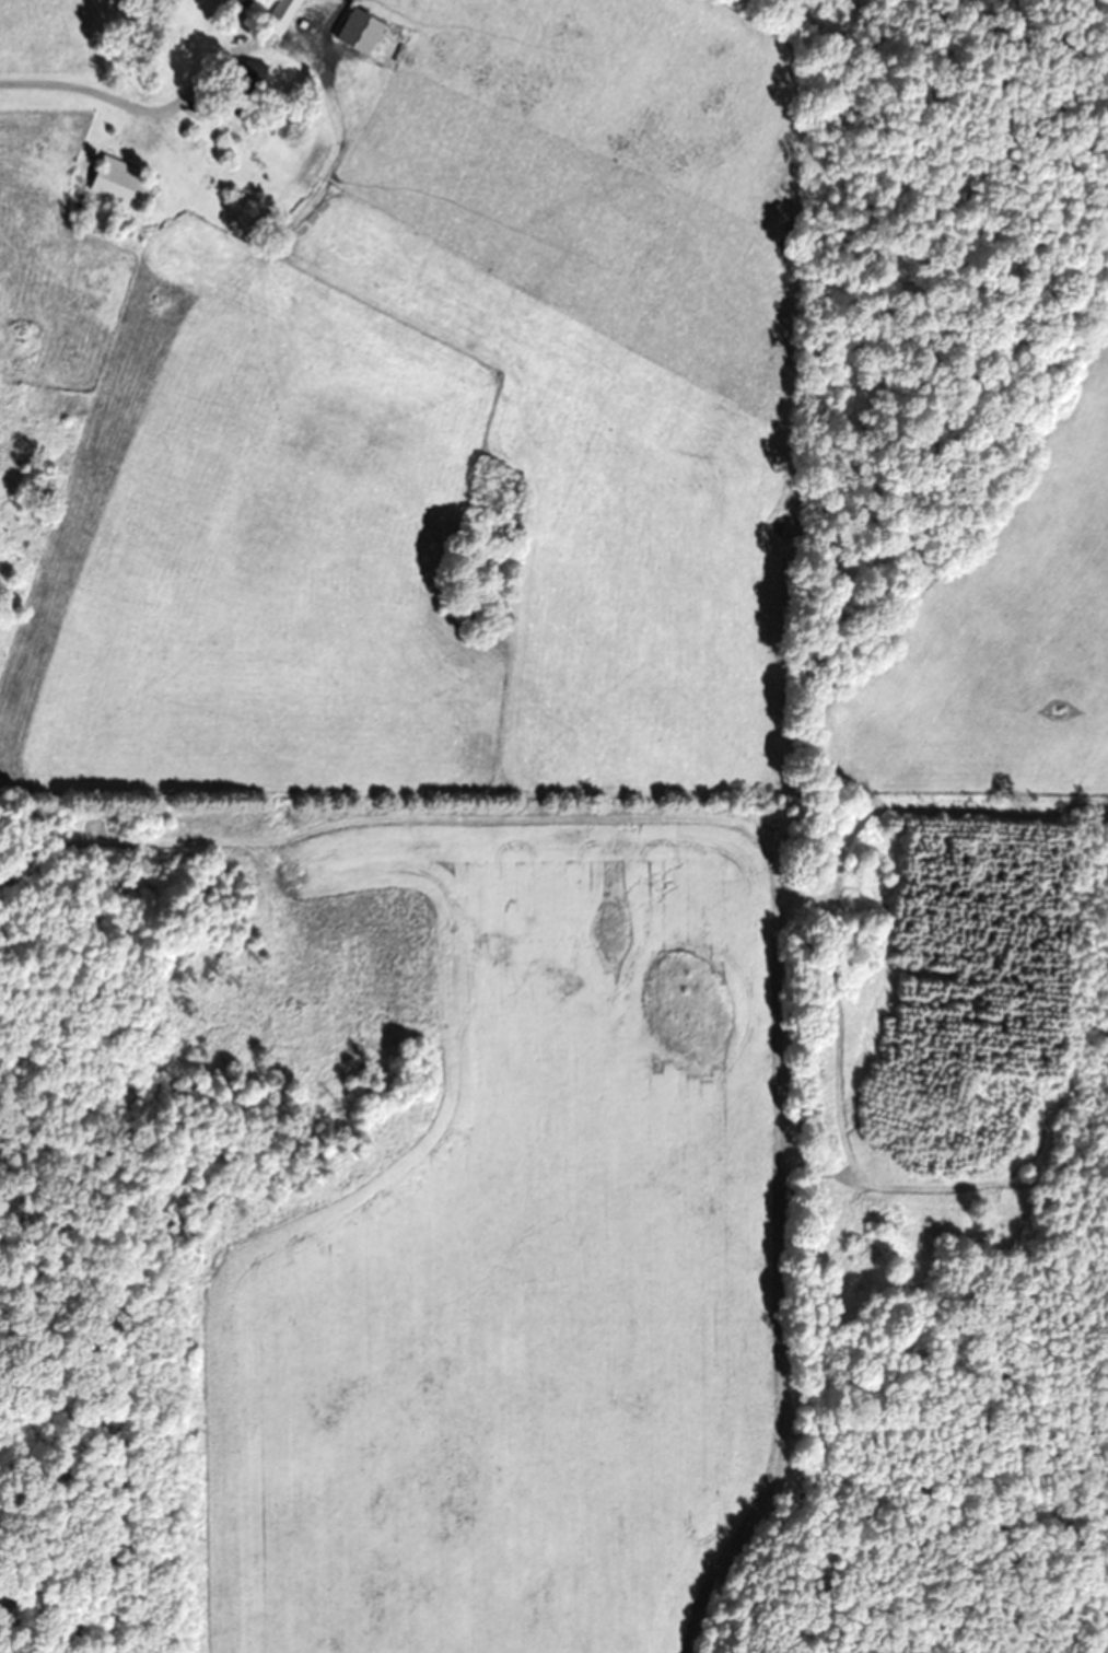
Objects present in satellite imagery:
building: (281, 16)
building: (362, 31)
building: (257, 72)
building: (124, 183)

